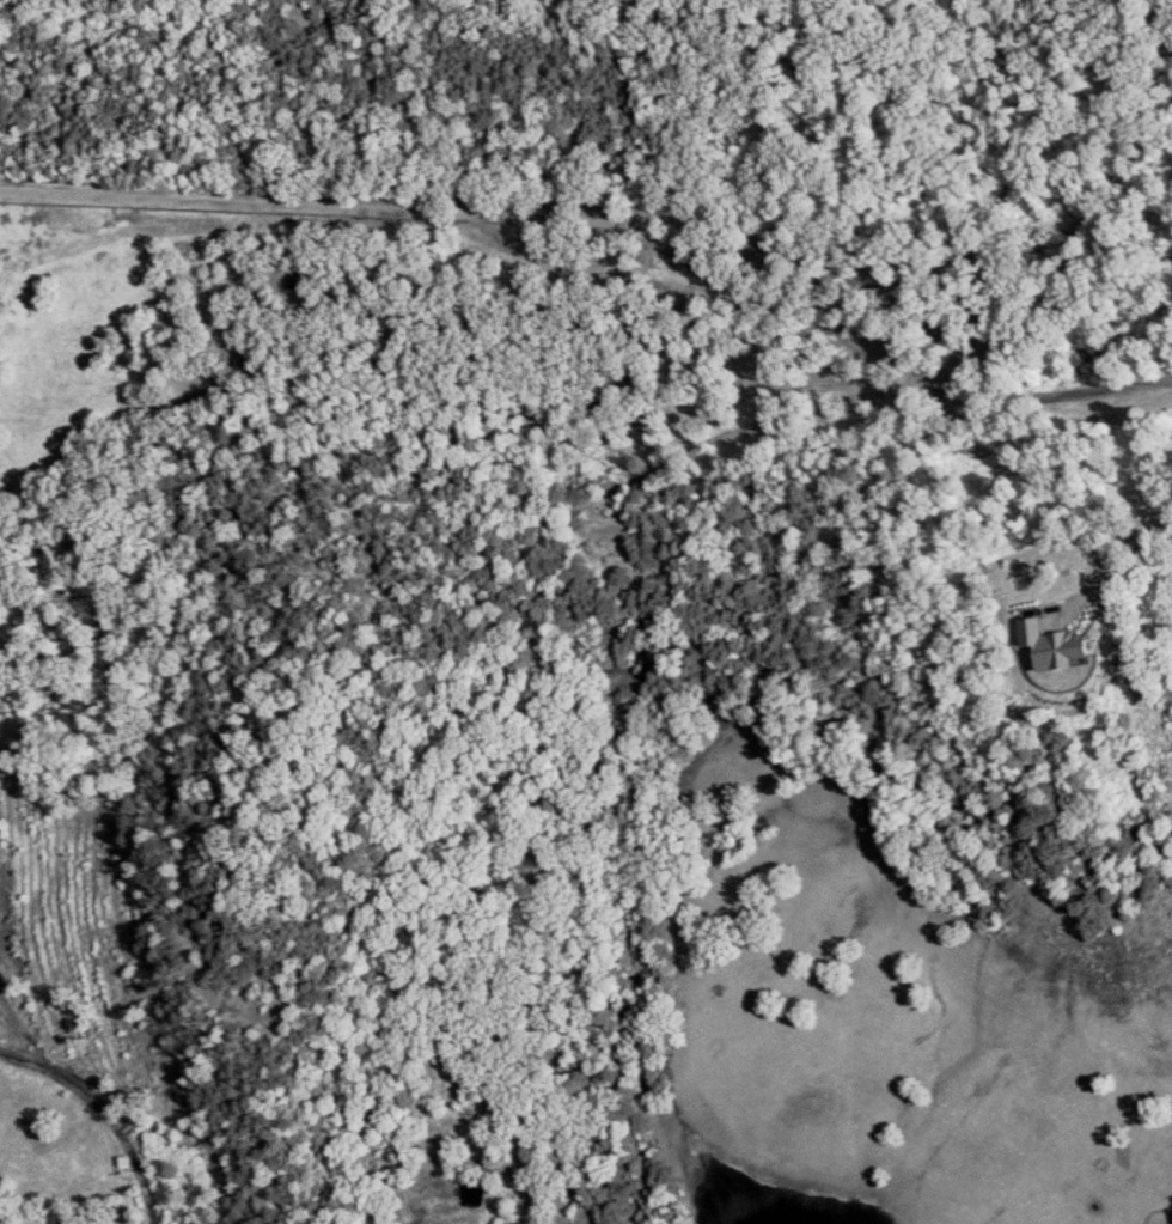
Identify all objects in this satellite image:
road: (605, 224)
road: (1129, 554)
building: (1052, 645)
road: (91, 1121)

